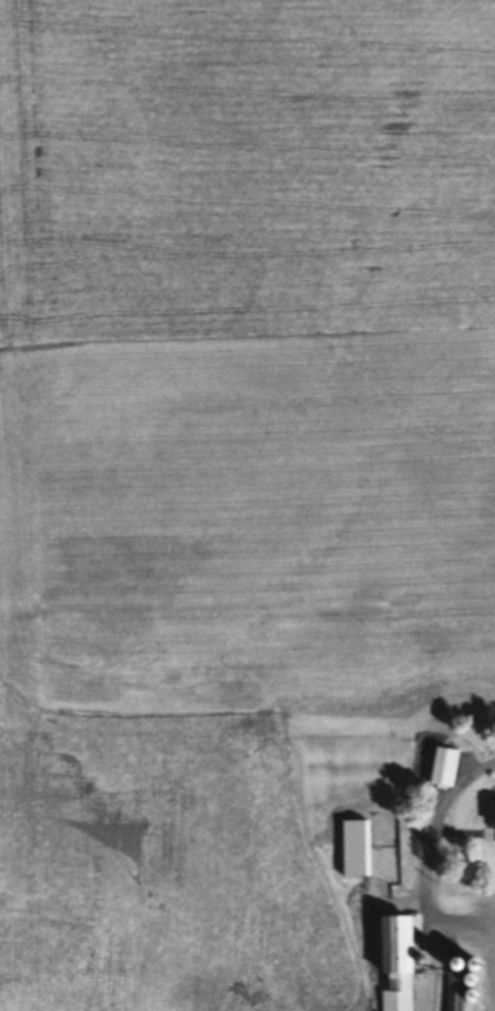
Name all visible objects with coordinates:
road: (490, 765)
building: (447, 766)
building: (494, 812)
building: (358, 848)
road: (431, 905)
road: (493, 914)
building: (399, 961)
building: (458, 990)

